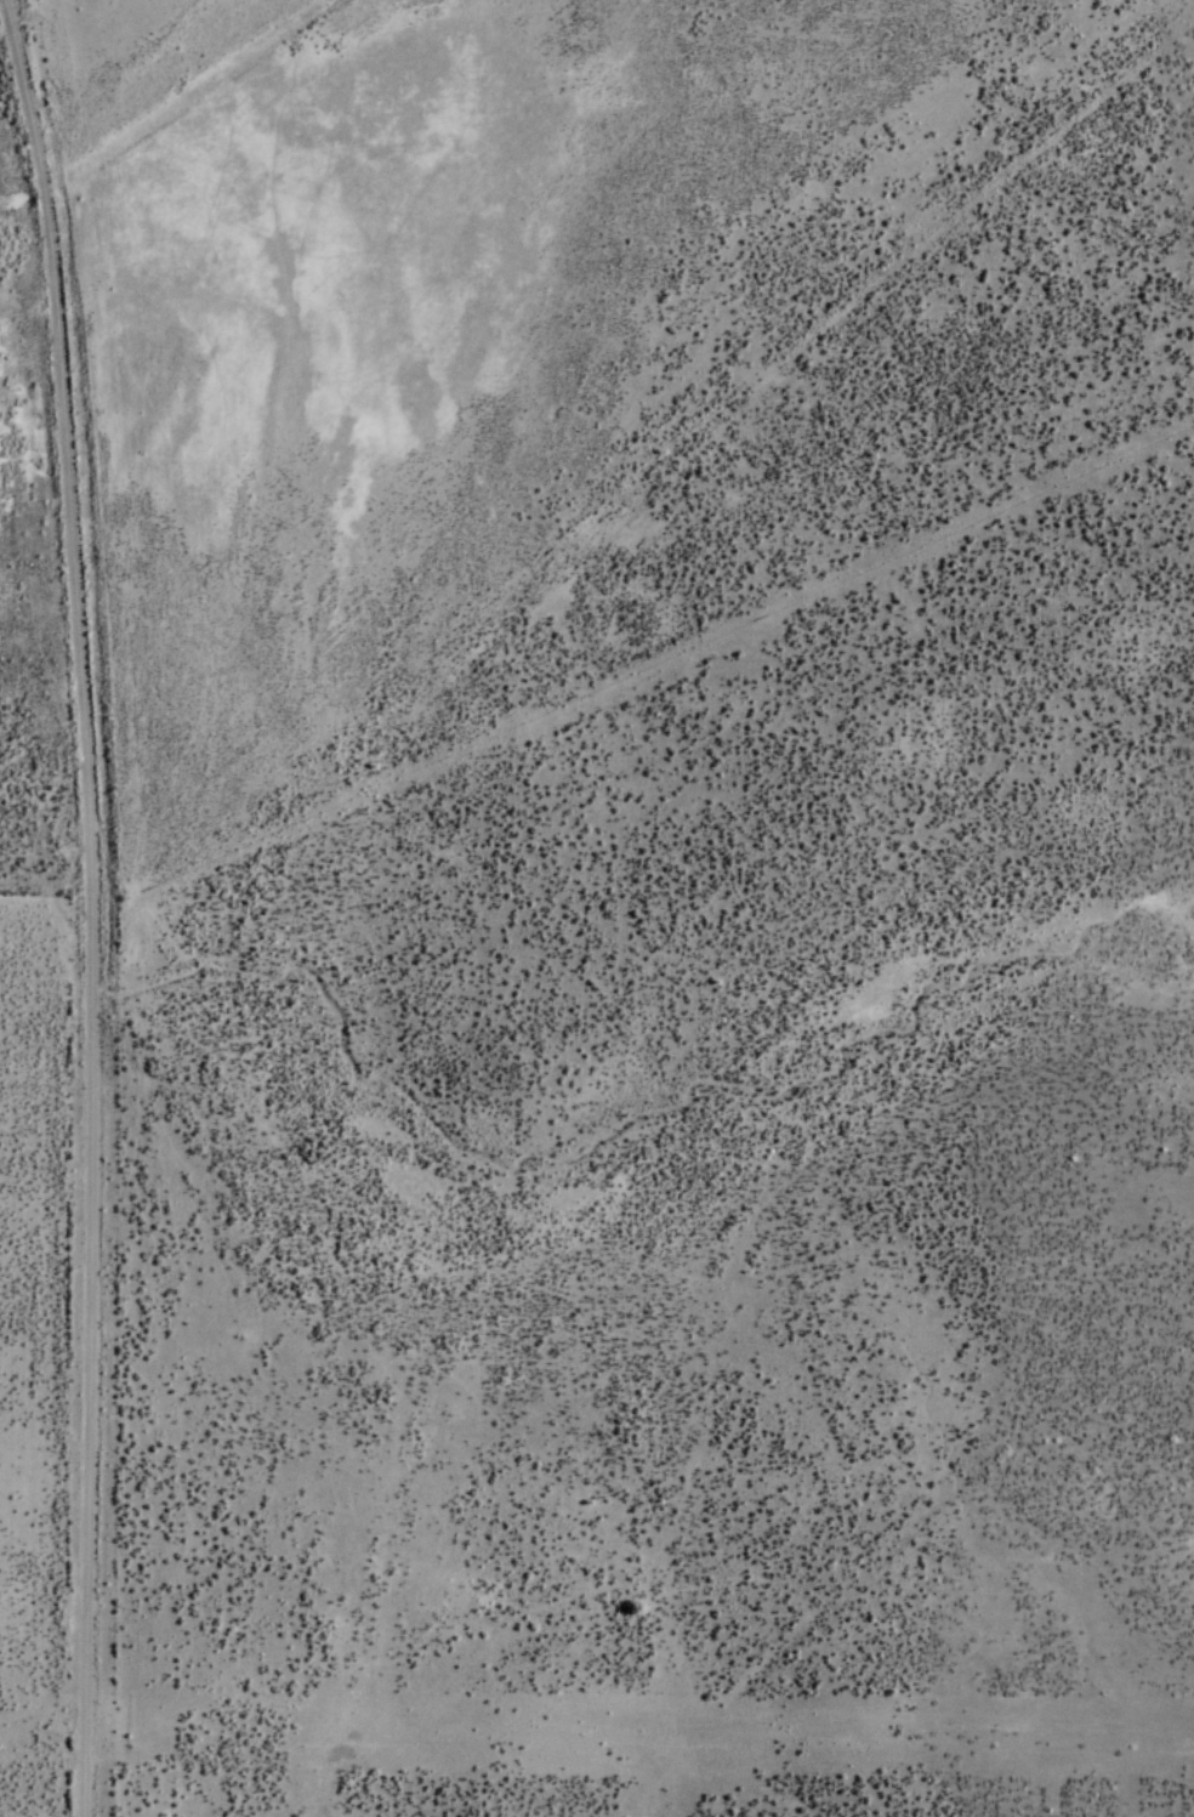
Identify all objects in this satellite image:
road: (93, 905)

